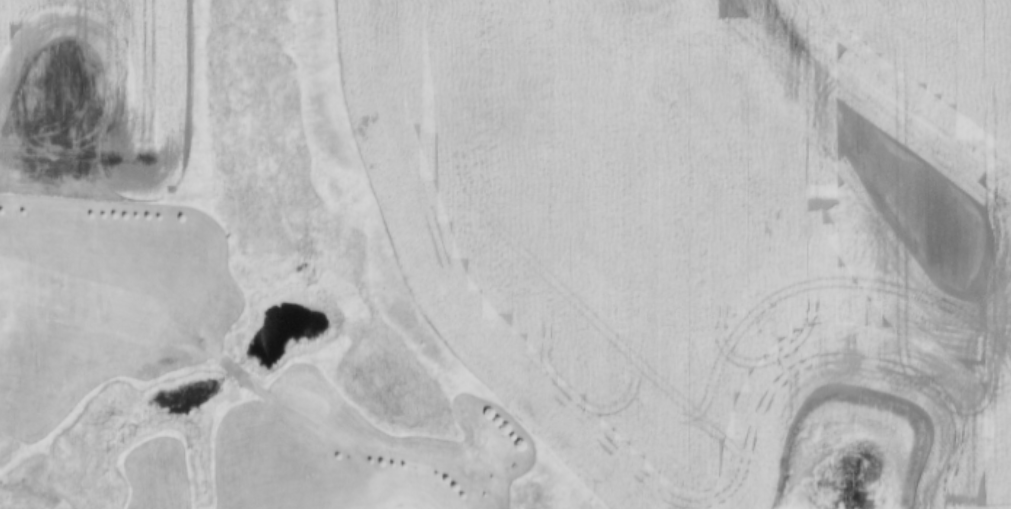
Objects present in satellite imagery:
park: (192, 386)

